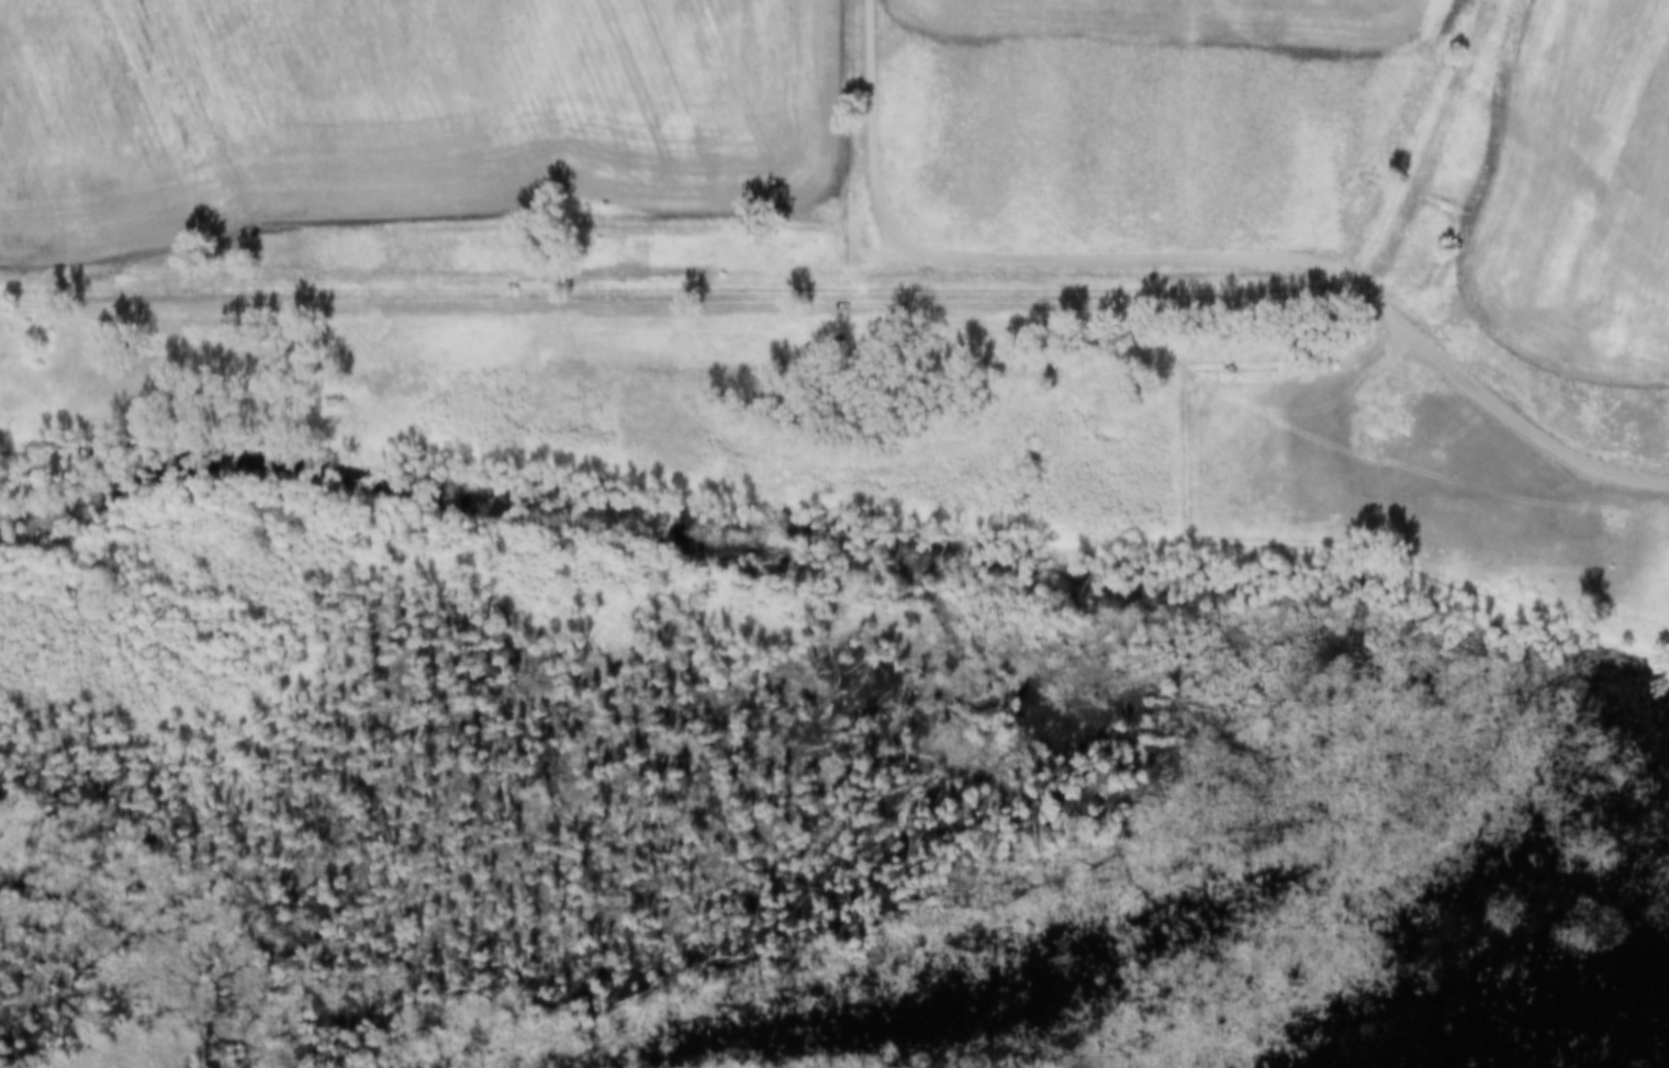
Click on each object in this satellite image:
road: (1195, 263)

